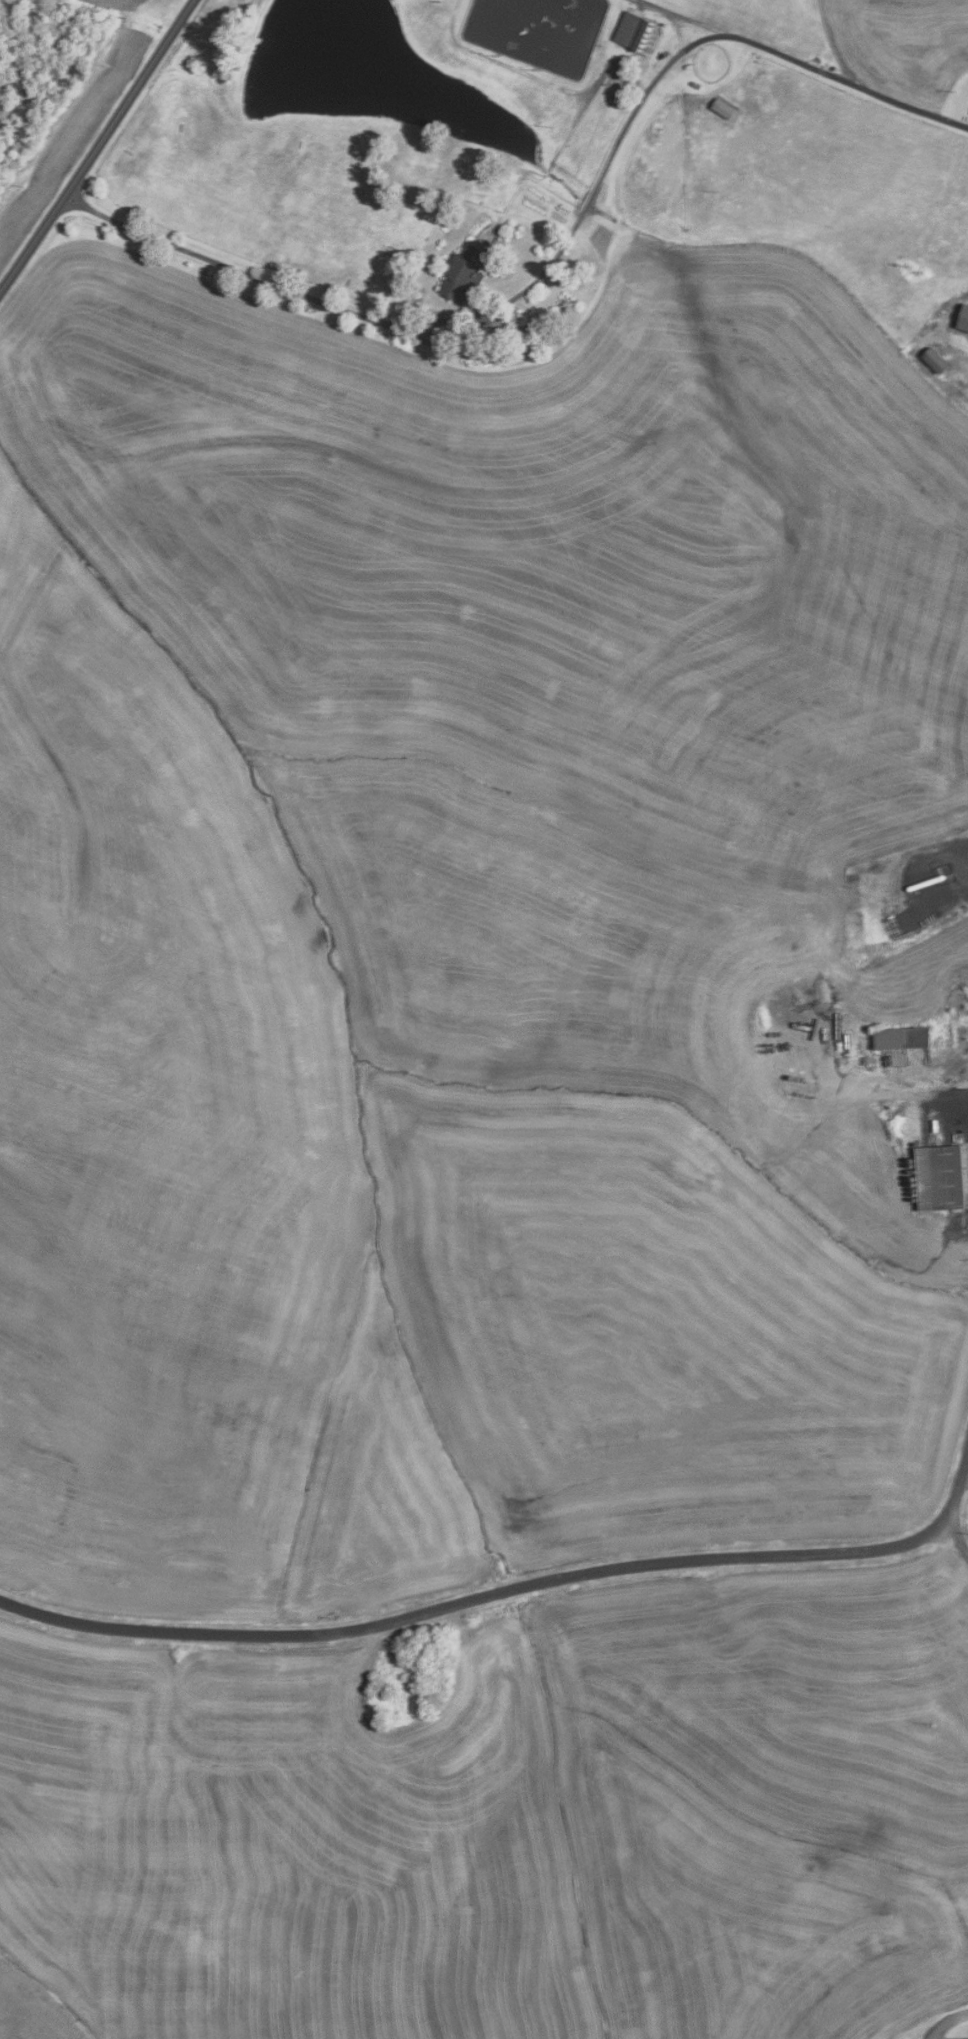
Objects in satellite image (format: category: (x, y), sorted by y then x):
road: (690, 16)
building: (637, 32)
road: (869, 89)
building: (722, 108)
road: (97, 146)
building: (462, 273)
road: (522, 290)
building: (963, 318)
building: (933, 360)
crop: (461, 932)
building: (900, 1037)
building: (939, 1177)
road: (966, 1460)
road: (953, 1538)
road: (510, 1589)
crop: (510, 1822)
crop: (31, 2004)
road: (947, 2022)
building: (958, 2038)

